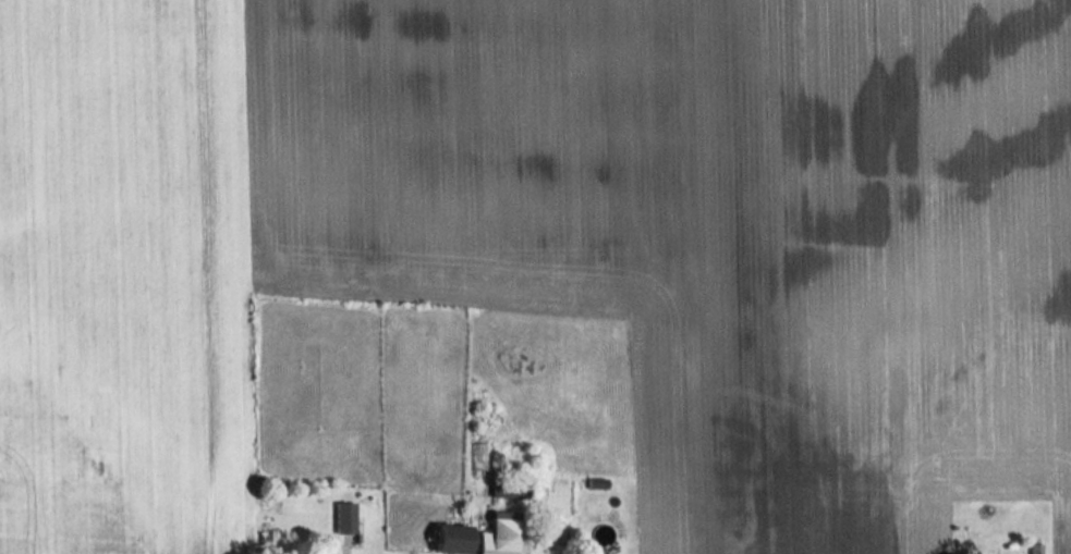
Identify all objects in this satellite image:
building: (509, 490)
building: (344, 517)
building: (499, 533)
building: (451, 538)
building: (1035, 547)

